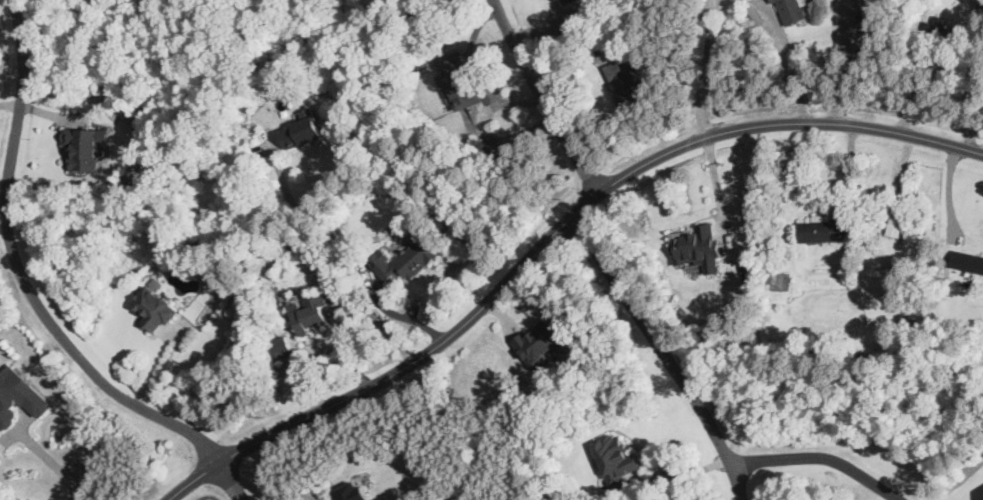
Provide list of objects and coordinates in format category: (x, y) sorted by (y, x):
building: (562, 1)
building: (982, 1)
building: (791, 11)
building: (946, 30)
road: (839, 66)
road: (711, 68)
road: (798, 74)
building: (458, 81)
building: (625, 84)
road: (542, 98)
road: (10, 103)
building: (302, 133)
building: (88, 145)
road: (714, 178)
road: (949, 193)
road: (3, 197)
building: (897, 222)
building: (823, 230)
road: (551, 238)
building: (698, 245)
road: (336, 259)
building: (405, 261)
building: (967, 261)
road: (21, 275)
building: (780, 281)
building: (154, 308)
building: (309, 312)
building: (544, 344)
building: (282, 347)
road: (664, 356)
building: (18, 398)
road: (822, 458)
building: (615, 459)
road: (53, 461)
road: (683, 473)
road: (227, 480)
building: (351, 492)
road: (293, 496)

